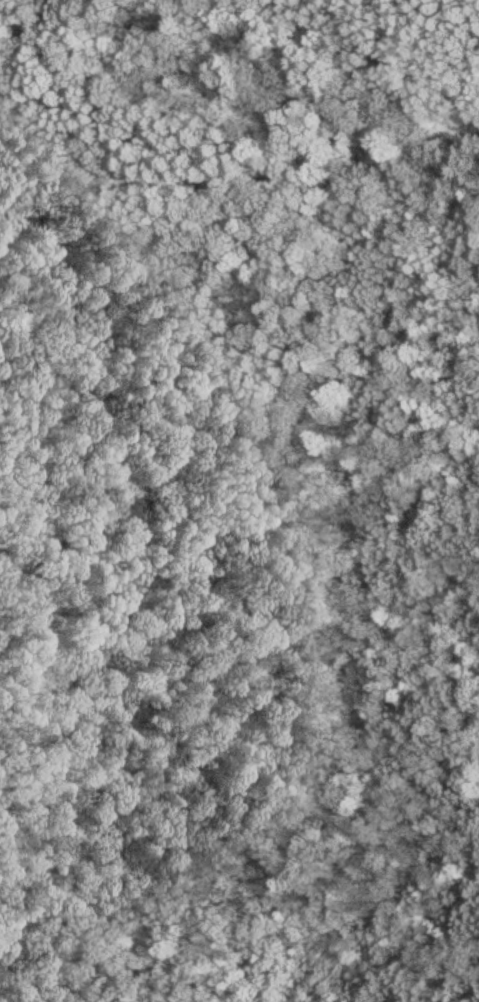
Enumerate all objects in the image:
road: (7, 10)
road: (237, 174)
road: (131, 392)
road: (102, 661)
road: (363, 815)

